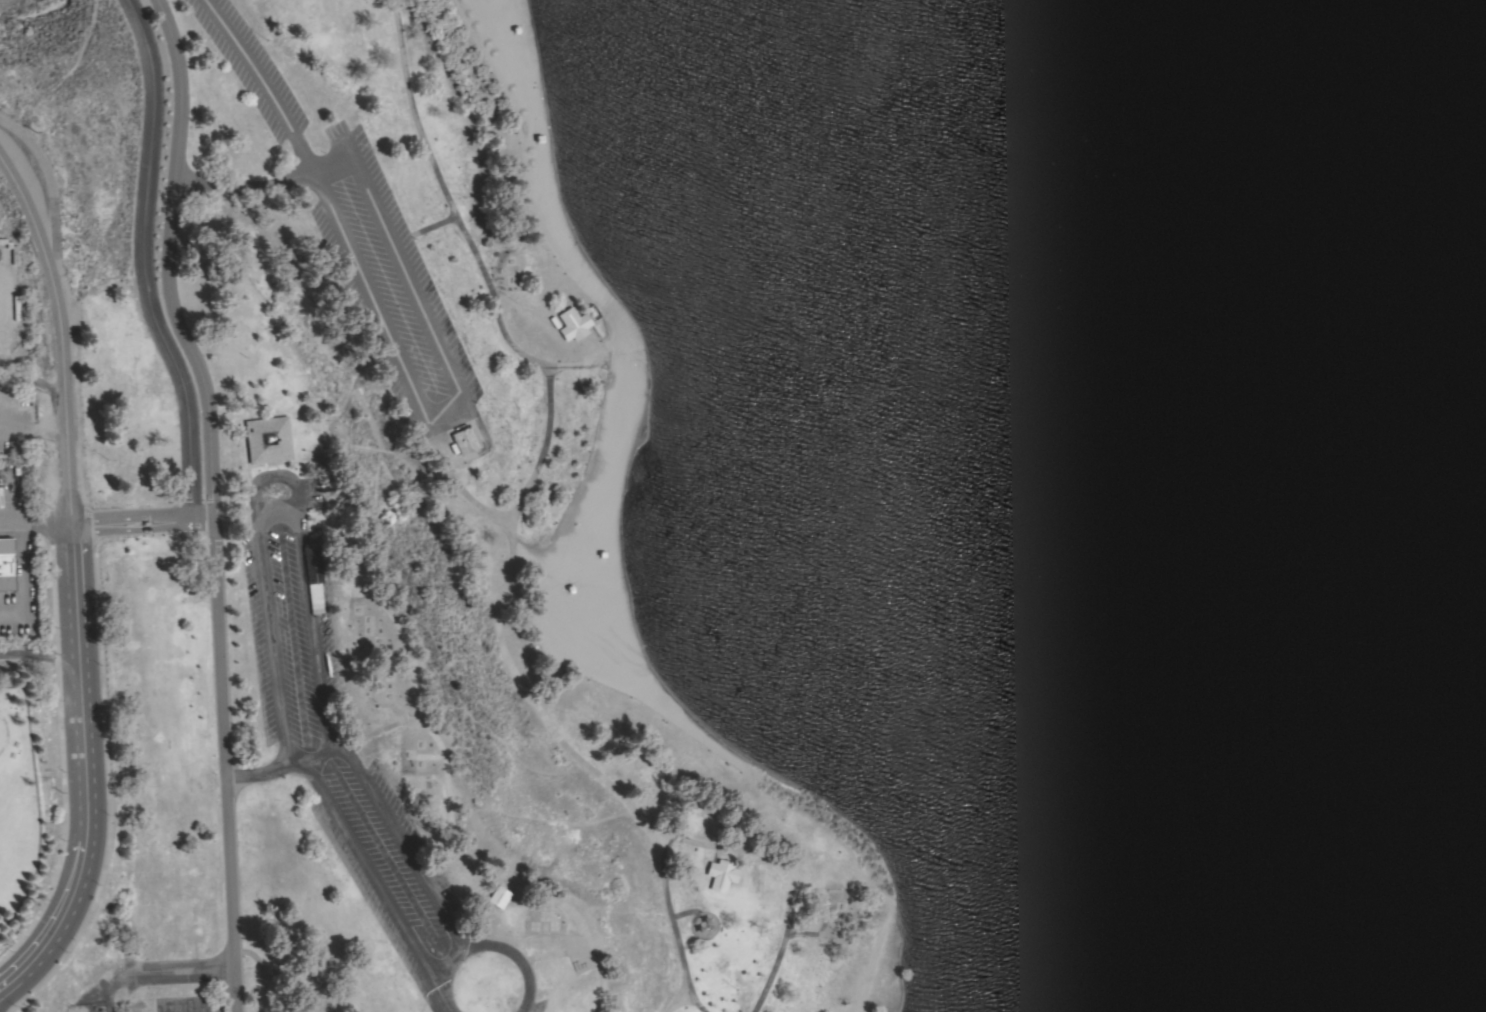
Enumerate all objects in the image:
parking lot: (249, 66)
road: (261, 81)
road: (245, 185)
road: (452, 215)
road: (421, 230)
road: (142, 261)
parking lot: (386, 281)
building: (573, 323)
road: (32, 378)
road: (451, 398)
road: (430, 431)
building: (268, 439)
building: (465, 440)
road: (267, 477)
road: (461, 488)
park: (758, 499)
road: (211, 500)
road: (143, 523)
road: (9, 525)
road: (46, 527)
building: (6, 564)
road: (20, 577)
building: (314, 577)
road: (76, 581)
parking lot: (291, 614)
road: (40, 651)
road: (376, 730)
road: (429, 731)
road: (564, 745)
road: (270, 770)
road: (391, 824)
building: (721, 874)
parking lot: (397, 875)
road: (377, 880)
road: (470, 891)
building: (497, 896)
road: (684, 913)
road: (672, 928)
road: (799, 932)
road: (487, 946)
road: (554, 953)
road: (263, 970)
road: (176, 972)
road: (312, 977)
park: (487, 983)
road: (673, 1001)
parking lot: (181, 1003)
road: (180, 1008)
parking lot: (217, 1010)

